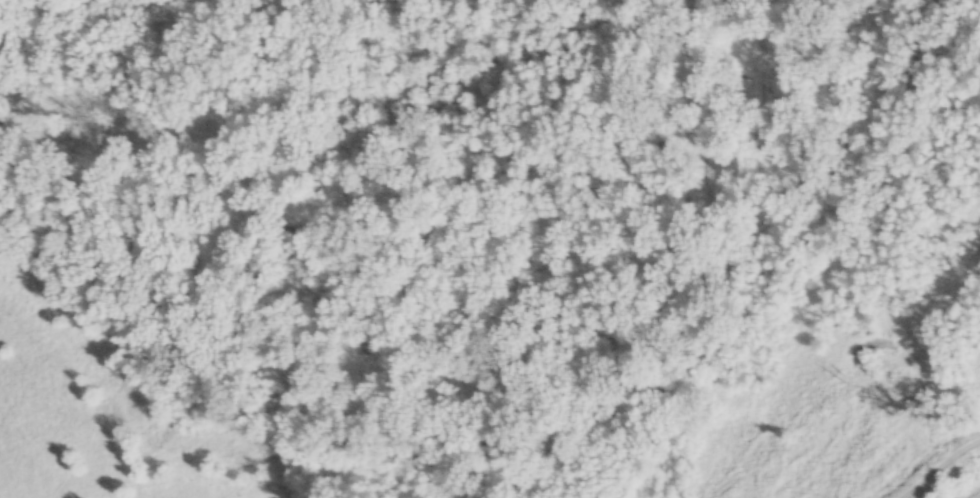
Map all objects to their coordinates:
road: (944, 470)

